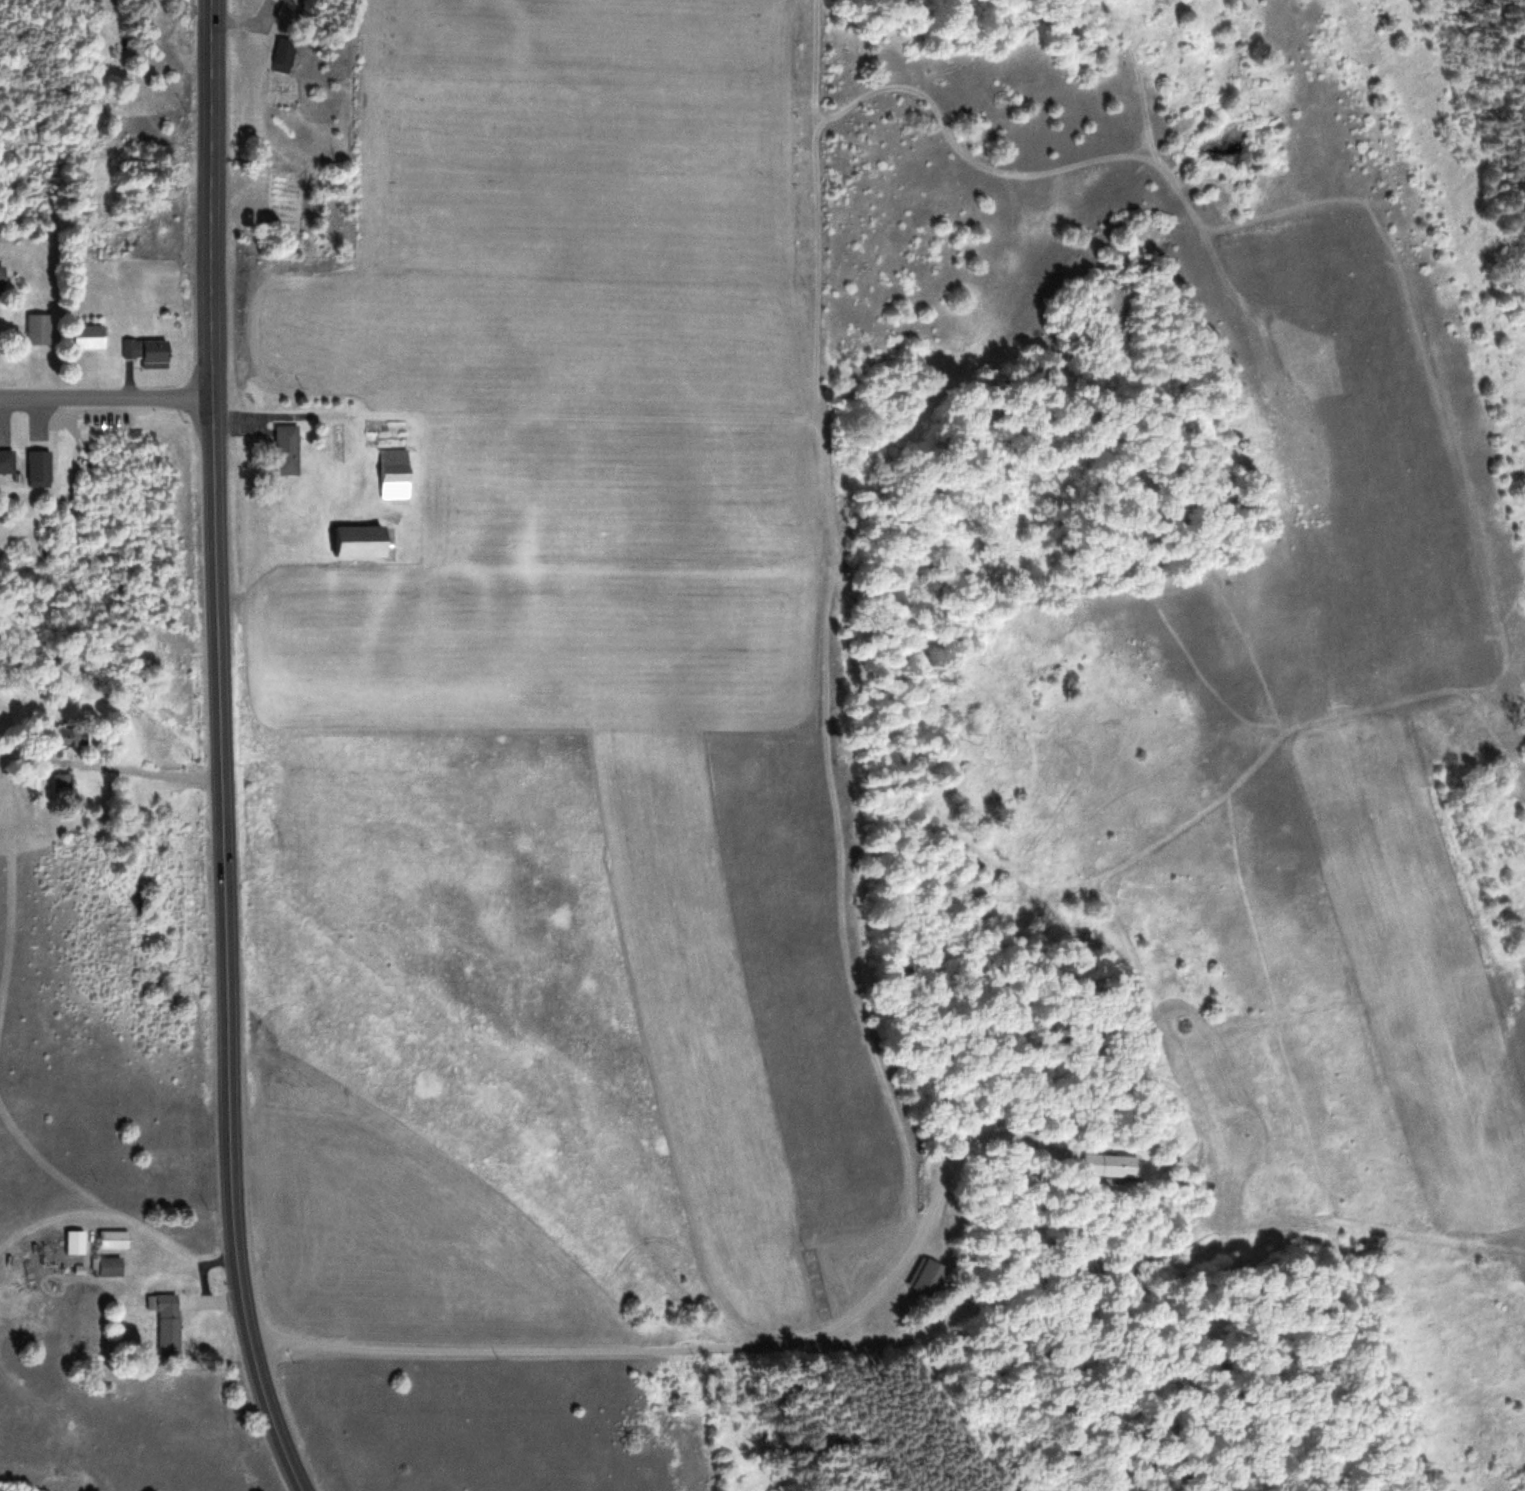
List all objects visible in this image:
building: (287, 1)
building: (285, 56)
building: (3, 280)
building: (39, 331)
building: (91, 338)
building: (149, 354)
road: (107, 402)
building: (286, 450)
building: (7, 461)
building: (39, 466)
building: (394, 474)
building: (365, 542)
building: (69, 739)
road: (221, 750)
building: (62, 783)
building: (1114, 1166)
building: (114, 1240)
building: (76, 1243)
building: (108, 1267)
building: (928, 1277)
building: (168, 1326)
road: (711, 1349)

